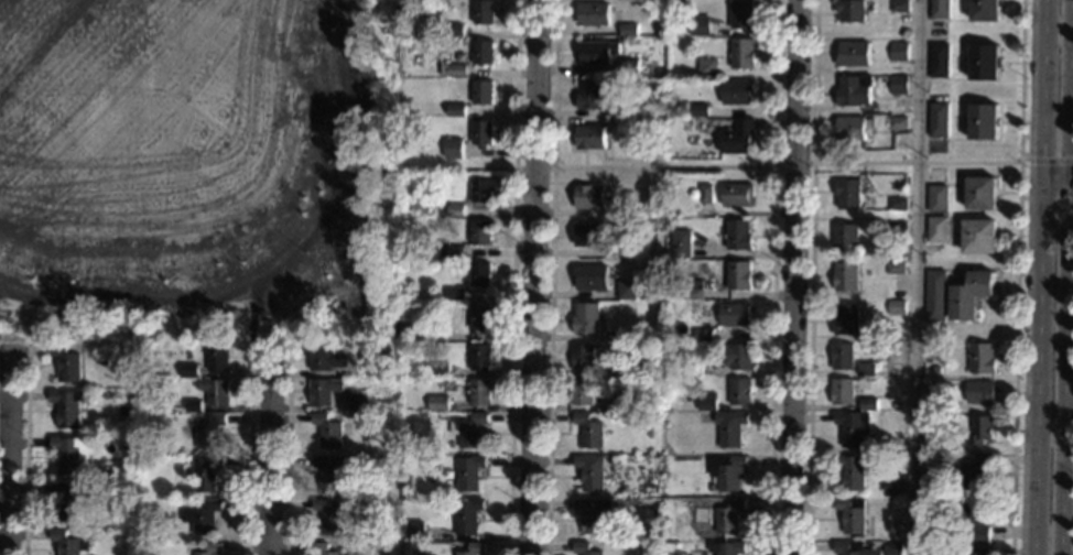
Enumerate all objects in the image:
building: (899, 6)
building: (940, 9)
building: (984, 10)
building: (852, 11)
building: (484, 13)
building: (592, 14)
building: (741, 14)
building: (700, 25)
building: (627, 30)
building: (454, 31)
building: (899, 52)
building: (483, 53)
building: (596, 53)
building: (741, 54)
building: (854, 54)
building: (940, 61)
building: (983, 63)
building: (629, 67)
building: (706, 68)
building: (456, 70)
road: (1021, 79)
road: (815, 81)
road: (514, 84)
building: (899, 85)
building: (608, 87)
building: (855, 90)
building: (481, 92)
building: (737, 92)
building: (588, 94)
building: (455, 110)
building: (616, 110)
building: (698, 110)
building: (939, 120)
building: (983, 122)
building: (898, 123)
building: (631, 126)
building: (853, 129)
building: (480, 134)
building: (589, 138)
building: (737, 138)
building: (453, 150)
road: (1047, 160)
road: (787, 165)
road: (533, 166)
road: (430, 167)
park: (199, 173)
road: (1054, 184)
building: (481, 189)
building: (900, 189)
building: (980, 193)
building: (705, 194)
building: (849, 194)
building: (737, 196)
building: (590, 197)
road: (1045, 197)
building: (937, 198)
building: (898, 204)
building: (451, 210)
building: (626, 210)
building: (936, 229)
building: (897, 230)
building: (480, 232)
building: (588, 235)
building: (738, 235)
building: (978, 237)
building: (847, 238)
building: (680, 244)
building: (449, 251)
building: (626, 251)
road: (277, 263)
building: (896, 269)
building: (479, 274)
building: (738, 275)
building: (847, 276)
road: (915, 276)
road: (1034, 276)
road: (1063, 276)
road: (531, 277)
road: (552, 277)
building: (590, 277)
road: (774, 277)
road: (792, 277)
building: (692, 290)
building: (627, 291)
building: (454, 294)
building: (935, 295)
building: (969, 295)
building: (896, 307)
road: (253, 312)
building: (735, 315)
building: (479, 317)
building: (585, 318)
building: (847, 319)
building: (403, 331)
building: (703, 335)
building: (626, 336)
road: (26, 352)
building: (738, 357)
building: (843, 357)
road: (1015, 357)
building: (325, 358)
building: (478, 358)
building: (582, 358)
building: (217, 359)
road: (811, 359)
building: (980, 359)
road: (511, 361)
building: (65, 363)
building: (697, 367)
building: (627, 368)
building: (867, 368)
building: (383, 369)
building: (187, 370)
building: (436, 370)
building: (935, 371)
building: (323, 391)
building: (216, 392)
building: (582, 392)
building: (739, 392)
building: (843, 392)
building: (978, 392)
building: (478, 393)
building: (132, 396)
building: (358, 401)
building: (626, 401)
building: (706, 402)
building: (437, 404)
building: (869, 404)
building: (192, 406)
building: (897, 406)
building: (67, 407)
building: (853, 427)
building: (729, 428)
building: (977, 429)
building: (587, 431)
building: (208, 432)
building: (327, 432)
building: (470, 432)
building: (933, 439)
road: (249, 446)
building: (870, 447)
road: (25, 451)
road: (286, 451)
road: (6, 454)
building: (69, 454)
road: (269, 459)
building: (727, 471)
building: (853, 471)
building: (973, 471)
building: (590, 472)
building: (204, 474)
building: (329, 474)
building: (468, 475)
building: (404, 481)
building: (891, 487)
building: (711, 488)
building: (174, 496)
building: (71, 500)
building: (173, 503)
building: (594, 514)
building: (852, 514)
building: (466, 516)
building: (727, 516)
building: (202, 518)
building: (328, 518)
building: (973, 521)
building: (93, 523)
building: (413, 532)
building: (68, 543)
building: (349, 547)
building: (449, 547)
building: (848, 547)
building: (726, 548)
building: (210, 549)
building: (321, 549)
building: (472, 549)
building: (584, 549)
building: (979, 551)
building: (891, 553)

